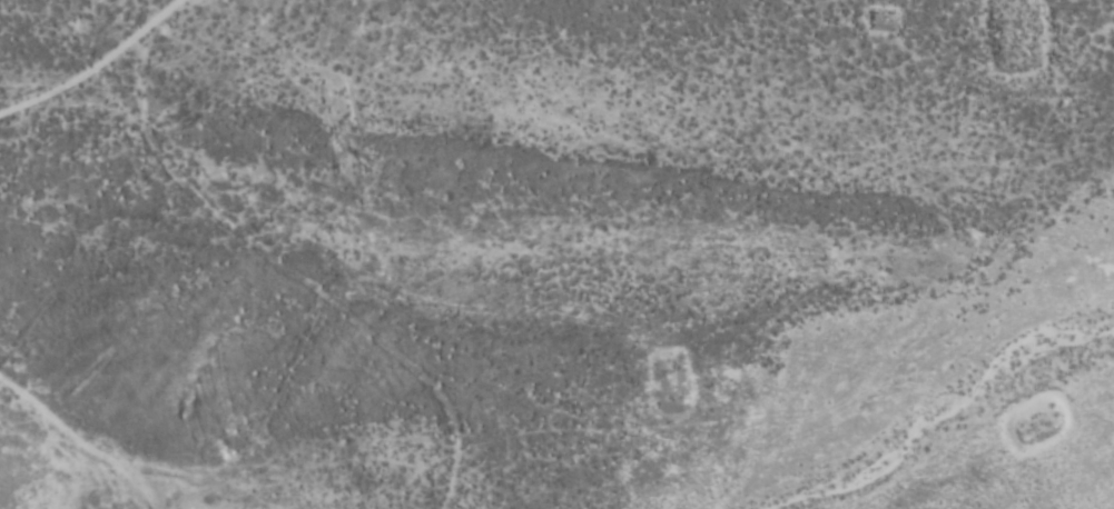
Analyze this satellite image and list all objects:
road: (93, 64)

